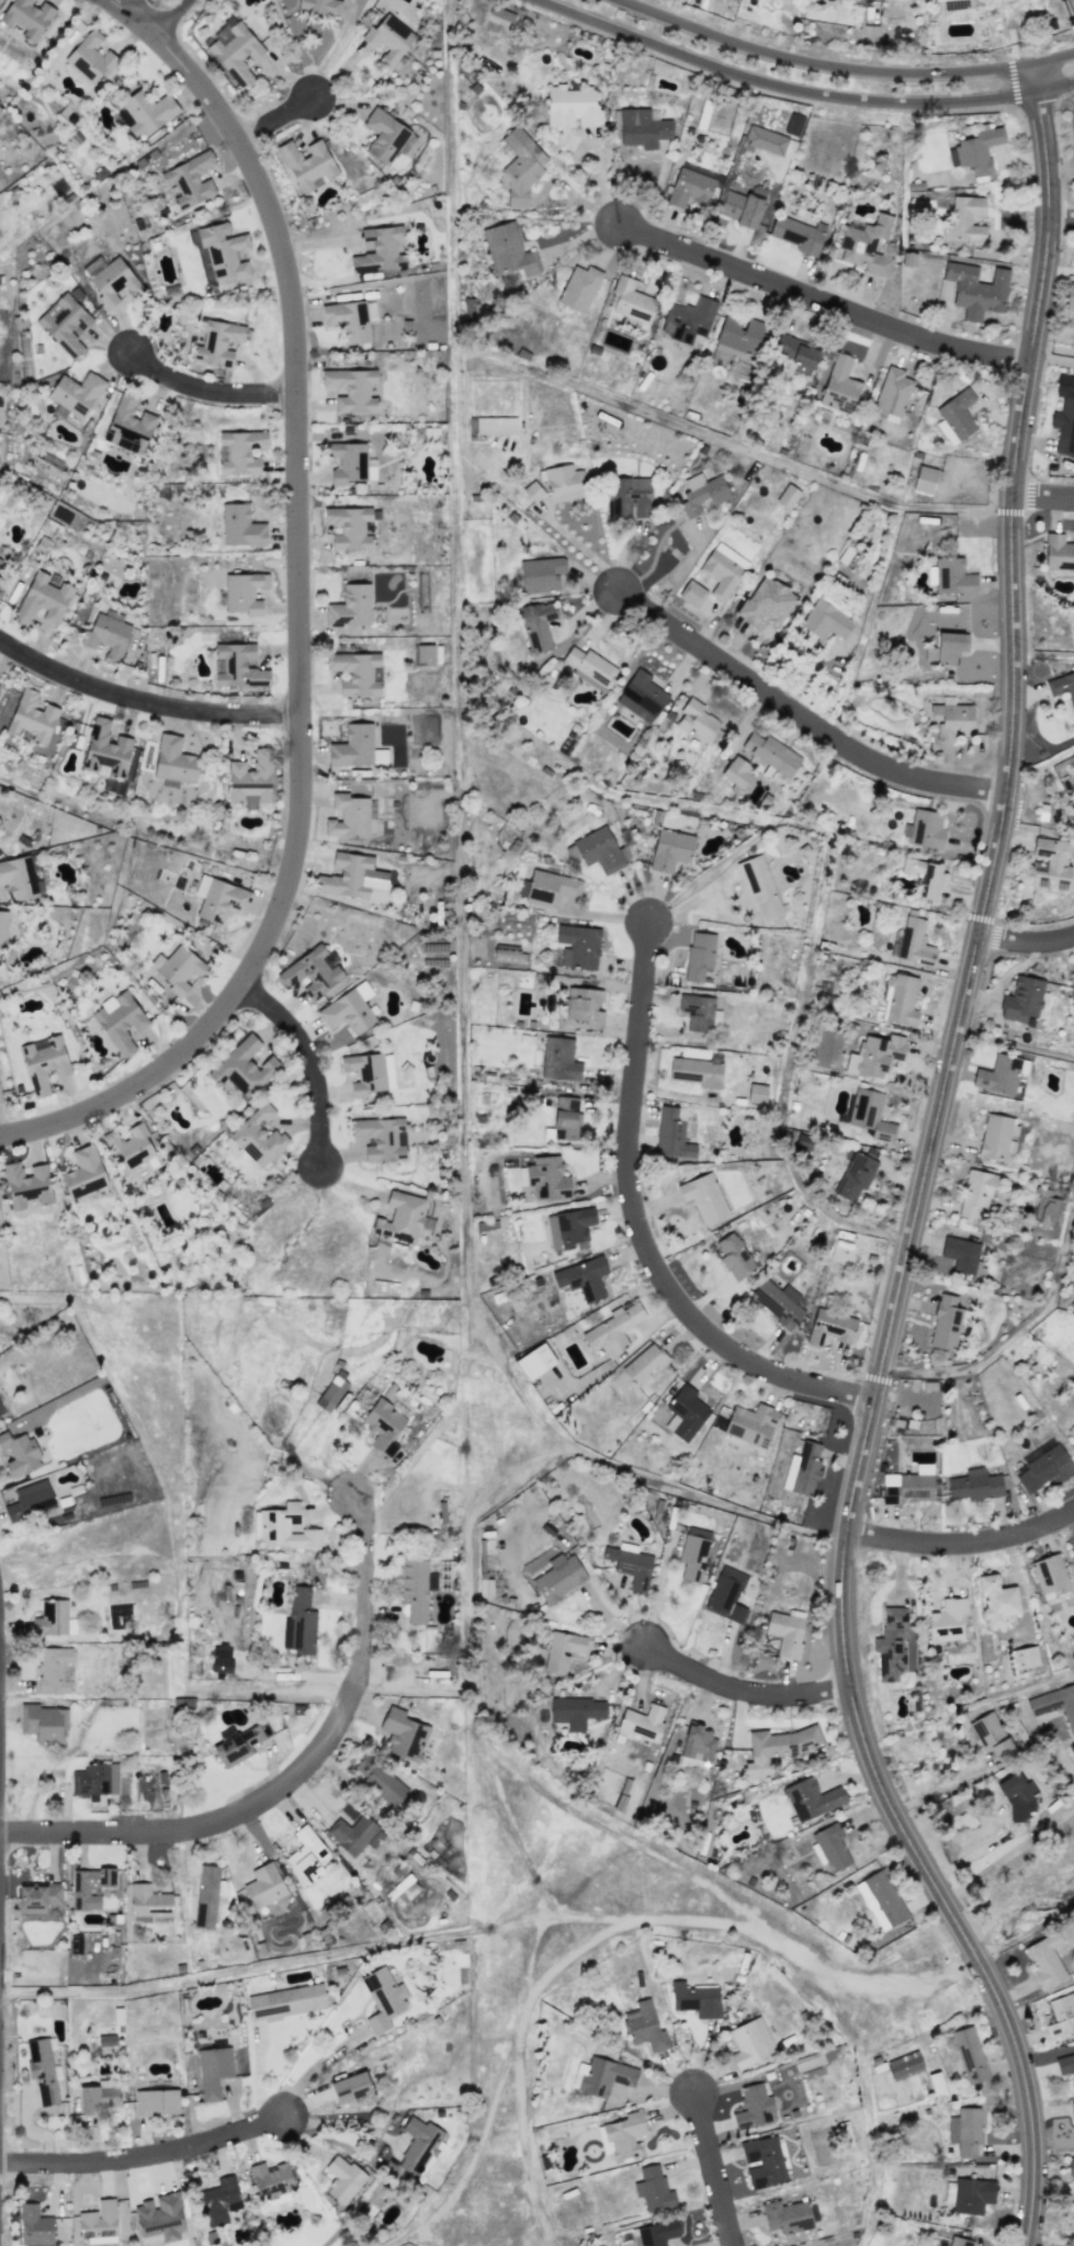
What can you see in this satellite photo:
building: (320, 5)
road: (137, 8)
building: (27, 16)
road: (131, 16)
road: (171, 18)
building: (388, 38)
road: (332, 49)
building: (236, 53)
building: (89, 58)
road: (850, 64)
road: (801, 90)
building: (570, 106)
building: (147, 112)
road: (278, 120)
building: (793, 122)
building: (642, 127)
building: (384, 135)
building: (512, 137)
building: (765, 139)
building: (975, 149)
road: (596, 155)
building: (307, 165)
building: (190, 179)
building: (689, 188)
road: (565, 189)
building: (742, 205)
road: (1060, 217)
building: (964, 218)
building: (796, 235)
building: (864, 244)
building: (380, 249)
building: (223, 250)
building: (508, 250)
building: (907, 259)
building: (114, 282)
building: (578, 287)
building: (975, 290)
building: (1070, 295)
road: (822, 298)
building: (631, 300)
building: (348, 319)
building: (688, 319)
building: (65, 324)
building: (738, 336)
building: (216, 341)
building: (796, 353)
building: (839, 384)
building: (351, 388)
building: (891, 391)
road: (210, 392)
building: (76, 393)
building: (956, 416)
building: (128, 425)
building: (495, 425)
building: (430, 432)
building: (241, 451)
building: (347, 461)
building: (924, 479)
building: (564, 482)
building: (532, 490)
building: (702, 493)
road: (1042, 494)
building: (787, 495)
building: (631, 498)
building: (240, 526)
building: (349, 527)
building: (1058, 552)
road: (578, 556)
building: (0, 558)
building: (722, 571)
building: (540, 574)
building: (952, 576)
building: (244, 591)
building: (691, 592)
building: (42, 599)
building: (766, 602)
building: (835, 602)
building: (350, 606)
building: (825, 620)
building: (536, 624)
building: (106, 636)
road: (298, 644)
building: (946, 647)
building: (425, 654)
building: (237, 665)
building: (589, 667)
building: (355, 671)
building: (1062, 687)
building: (641, 696)
road: (143, 701)
road: (801, 714)
building: (32, 716)
building: (696, 720)
building: (952, 720)
building: (355, 747)
building: (105, 748)
building: (771, 753)
building: (173, 759)
building: (736, 770)
building: (250, 779)
building: (348, 815)
building: (926, 828)
building: (669, 849)
building: (600, 850)
building: (1049, 864)
building: (20, 876)
building: (351, 876)
building: (925, 876)
building: (547, 887)
building: (759, 888)
building: (219, 899)
road: (598, 915)
building: (2, 928)
road: (1024, 940)
building: (914, 941)
building: (505, 944)
building: (577, 946)
building: (506, 953)
building: (699, 955)
building: (180, 969)
building: (309, 973)
building: (901, 1000)
building: (1024, 1000)
building: (584, 1005)
building: (696, 1011)
building: (347, 1012)
building: (120, 1022)
building: (877, 1054)
building: (558, 1059)
building: (43, 1062)
road: (310, 1065)
building: (242, 1066)
building: (698, 1070)
building: (387, 1071)
building: (364, 1072)
building: (998, 1074)
building: (756, 1093)
building: (0, 1101)
building: (870, 1114)
building: (566, 1118)
building: (995, 1131)
building: (671, 1132)
building: (258, 1136)
building: (381, 1138)
building: (804, 1140)
building: (129, 1147)
building: (83, 1172)
road: (920, 1173)
building: (853, 1174)
building: (546, 1177)
building: (26, 1184)
building: (976, 1190)
building: (703, 1196)
building: (402, 1217)
building: (1045, 1217)
road: (637, 1227)
building: (568, 1228)
building: (960, 1253)
building: (734, 1255)
building: (583, 1277)
building: (778, 1301)
building: (945, 1322)
building: (829, 1327)
building: (612, 1329)
building: (534, 1361)
building: (644, 1363)
building: (331, 1391)
building: (1, 1411)
building: (685, 1412)
building: (750, 1424)
building: (383, 1425)
building: (1071, 1430)
building: (19, 1453)
building: (1042, 1467)
building: (802, 1468)
building: (909, 1485)
building: (973, 1485)
building: (30, 1500)
building: (284, 1527)
road: (961, 1539)
building: (693, 1553)
building: (630, 1564)
building: (1050, 1576)
building: (558, 1577)
building: (414, 1588)
building: (725, 1593)
road: (656, 1596)
building: (996, 1600)
building: (52, 1619)
building: (947, 1619)
building: (299, 1622)
building: (785, 1632)
building: (891, 1643)
building: (562, 1650)
building: (1024, 1657)
building: (221, 1659)
building: (53, 1663)
road: (742, 1686)
building: (183, 1703)
building: (1054, 1703)
building: (576, 1711)
building: (642, 1722)
building: (43, 1723)
building: (403, 1734)
building: (991, 1735)
building: (239, 1743)
building: (698, 1743)
building: (777, 1748)
road: (1065, 1761)
road: (293, 1774)
building: (95, 1780)
building: (378, 1780)
road: (936, 1787)
building: (1016, 1794)
building: (811, 1798)
building: (354, 1833)
building: (829, 1847)
road: (975, 1851)
road: (1008, 1852)
building: (305, 1855)
building: (263, 1885)
building: (93, 1886)
building: (406, 1893)
building: (206, 1896)
building: (37, 1897)
building: (881, 1899)
building: (148, 1905)
building: (1044, 1960)
road: (231, 1971)
building: (696, 1997)
building: (383, 1998)
building: (286, 2000)
building: (1061, 2014)
building: (644, 2025)
building: (961, 2033)
building: (106, 2040)
building: (749, 2042)
building: (1064, 2063)
building: (904, 2065)
road: (313, 2068)
building: (43, 2069)
building: (213, 2070)
building: (601, 2076)
building: (350, 2087)
building: (98, 2098)
building: (156, 2101)
building: (753, 2107)
building: (1072, 2107)
road: (335, 2120)
building: (964, 2131)
building: (623, 2134)
building: (418, 2144)
road: (142, 2154)
building: (762, 2160)
building: (1070, 2165)
road: (712, 2170)
building: (342, 2179)
building: (272, 2180)
building: (653, 2189)
building: (972, 2194)
building: (218, 2200)
building: (785, 2215)
building: (161, 2216)
building: (98, 2220)
building: (34, 2225)
building: (657, 2233)
building: (959, 2242)

